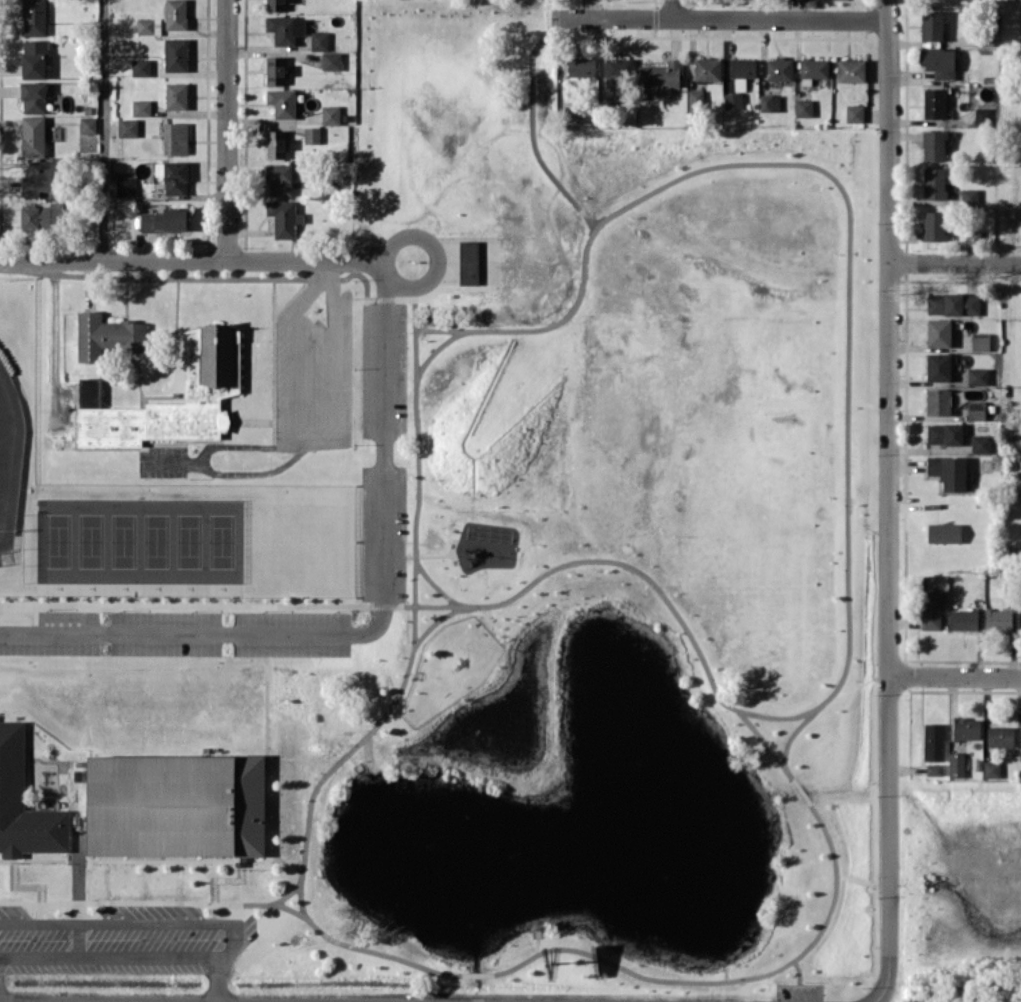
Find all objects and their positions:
building: (275, 5)
road: (673, 8)
building: (175, 14)
building: (34, 17)
road: (718, 17)
building: (145, 25)
building: (932, 25)
building: (285, 28)
building: (319, 40)
building: (175, 54)
building: (34, 59)
building: (331, 60)
building: (939, 62)
building: (581, 66)
building: (140, 67)
building: (779, 68)
building: (814, 68)
building: (707, 69)
building: (275, 70)
building: (617, 70)
building: (851, 70)
building: (741, 71)
building: (660, 76)
building: (176, 95)
building: (34, 97)
building: (695, 100)
building: (732, 100)
building: (282, 102)
building: (769, 102)
building: (934, 103)
building: (141, 107)
building: (803, 107)
building: (582, 112)
building: (854, 113)
building: (330, 114)
building: (87, 124)
building: (127, 127)
road: (103, 129)
road: (226, 129)
building: (33, 135)
building: (312, 135)
building: (175, 138)
building: (275, 144)
building: (934, 145)
building: (173, 176)
building: (40, 177)
building: (279, 179)
building: (934, 183)
building: (125, 186)
building: (969, 195)
building: (41, 216)
building: (284, 217)
building: (165, 220)
building: (934, 225)
building: (972, 237)
road: (436, 253)
road: (197, 258)
road: (955, 260)
building: (468, 262)
road: (324, 270)
road: (90, 280)
building: (953, 303)
building: (938, 332)
building: (107, 336)
building: (980, 341)
building: (938, 367)
building: (210, 372)
building: (978, 376)
building: (90, 391)
building: (938, 401)
building: (976, 410)
building: (944, 433)
park: (18, 435)
road: (307, 439)
building: (980, 444)
park: (10, 459)
building: (948, 471)
road: (889, 499)
building: (944, 532)
park: (140, 542)
park: (526, 600)
building: (930, 609)
building: (1020, 618)
building: (964, 619)
building: (999, 619)
road: (366, 630)
road: (955, 674)
building: (966, 728)
building: (1020, 733)
building: (1000, 736)
building: (933, 741)
building: (956, 764)
building: (934, 769)
building: (991, 769)
building: (25, 801)
building: (178, 805)
parking lot: (118, 937)
road: (231, 938)
road: (217, 978)
road: (876, 999)
road: (109, 1001)

